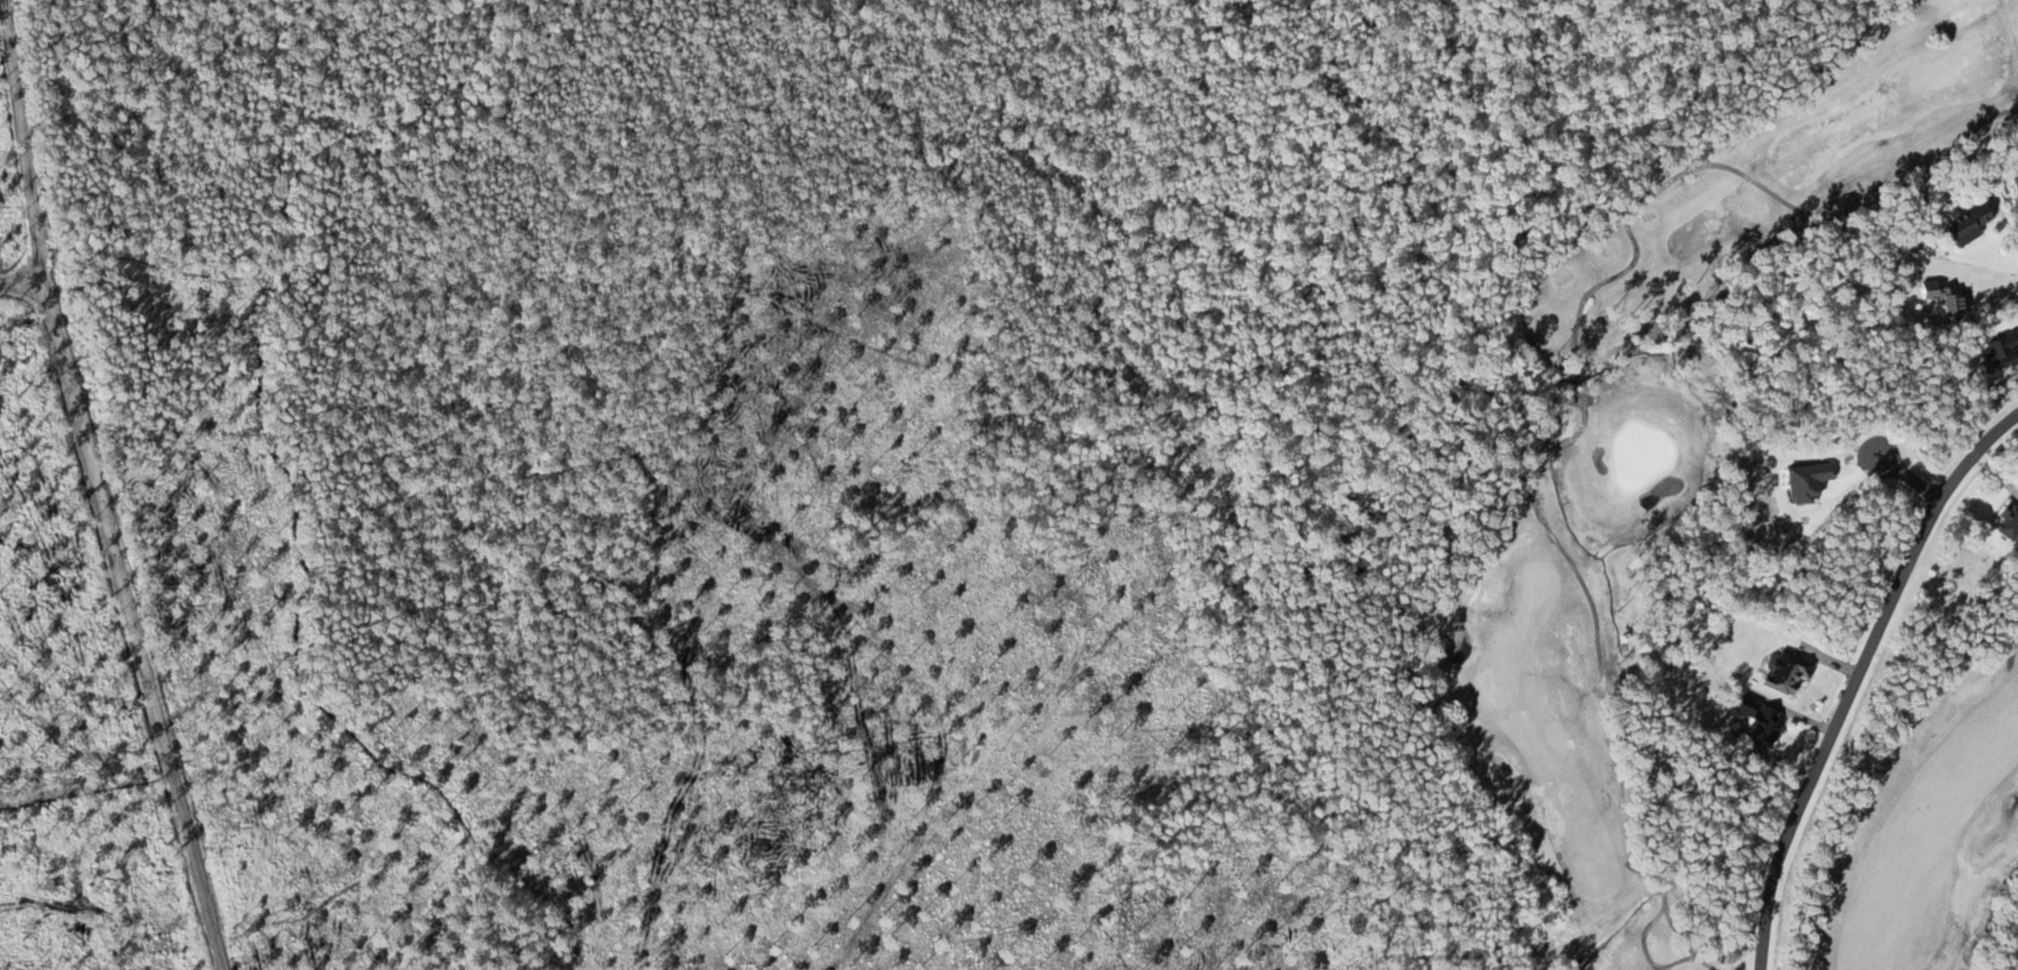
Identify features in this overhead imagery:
building: (2015, 187)
building: (1966, 221)
building: (1951, 303)
road: (34, 355)
road: (1584, 411)
road: (1908, 475)
road: (122, 484)
building: (2008, 522)
building: (1785, 670)
road: (1856, 677)
building: (1758, 721)
road: (1853, 759)

